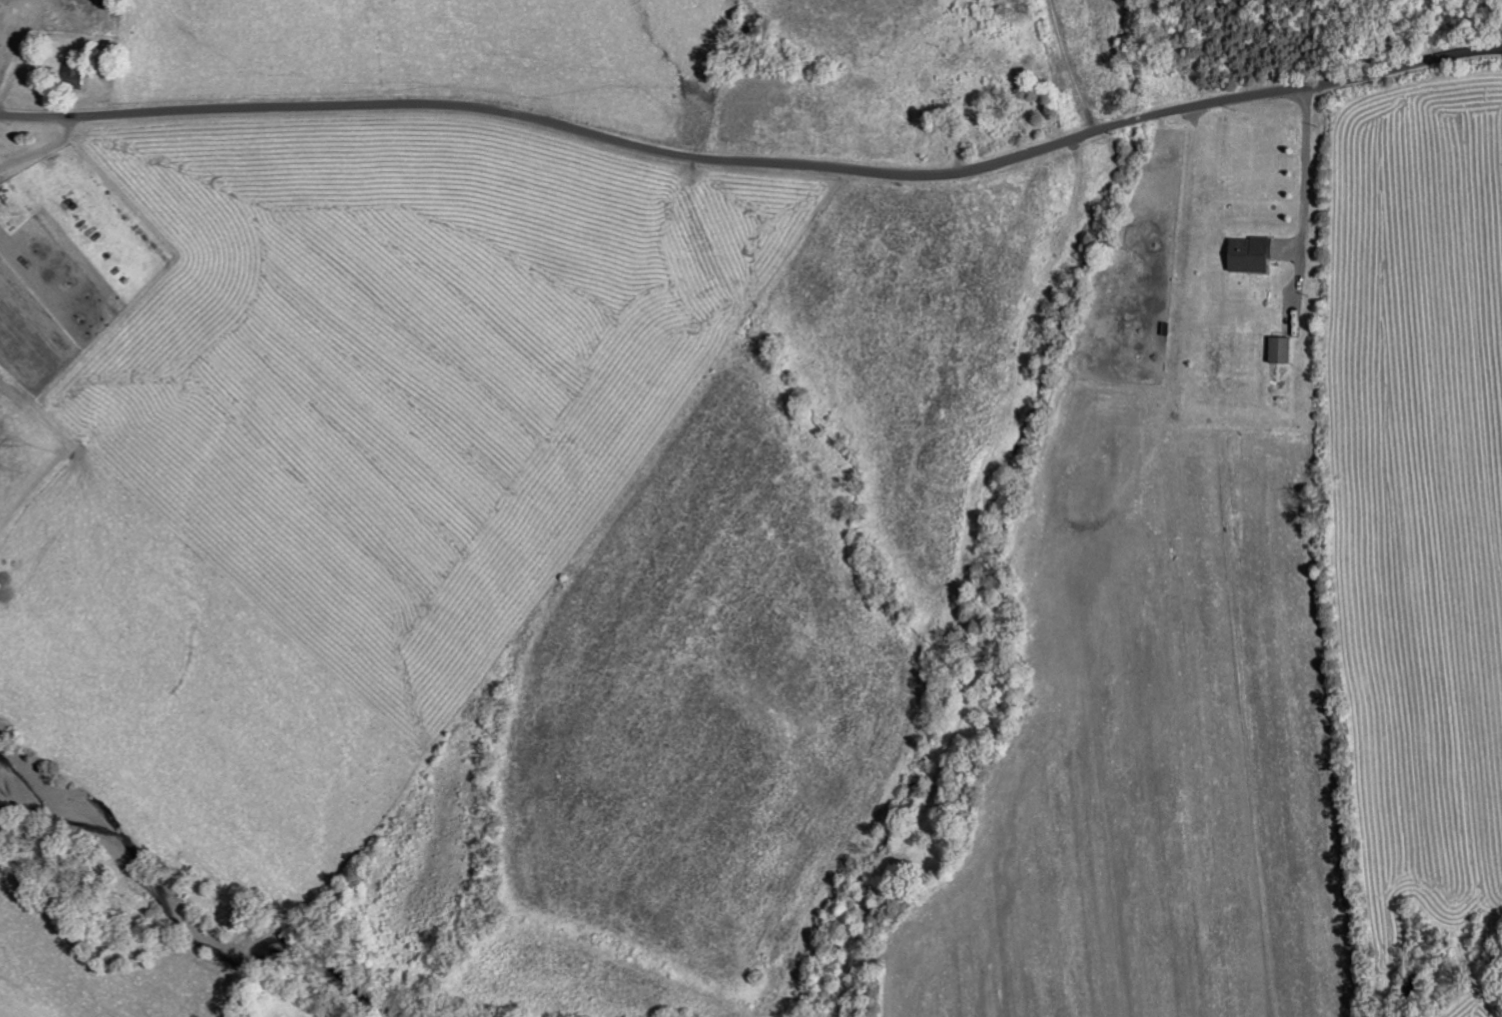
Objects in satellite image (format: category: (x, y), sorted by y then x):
road: (755, 161)
building: (1253, 253)
building: (1282, 349)

